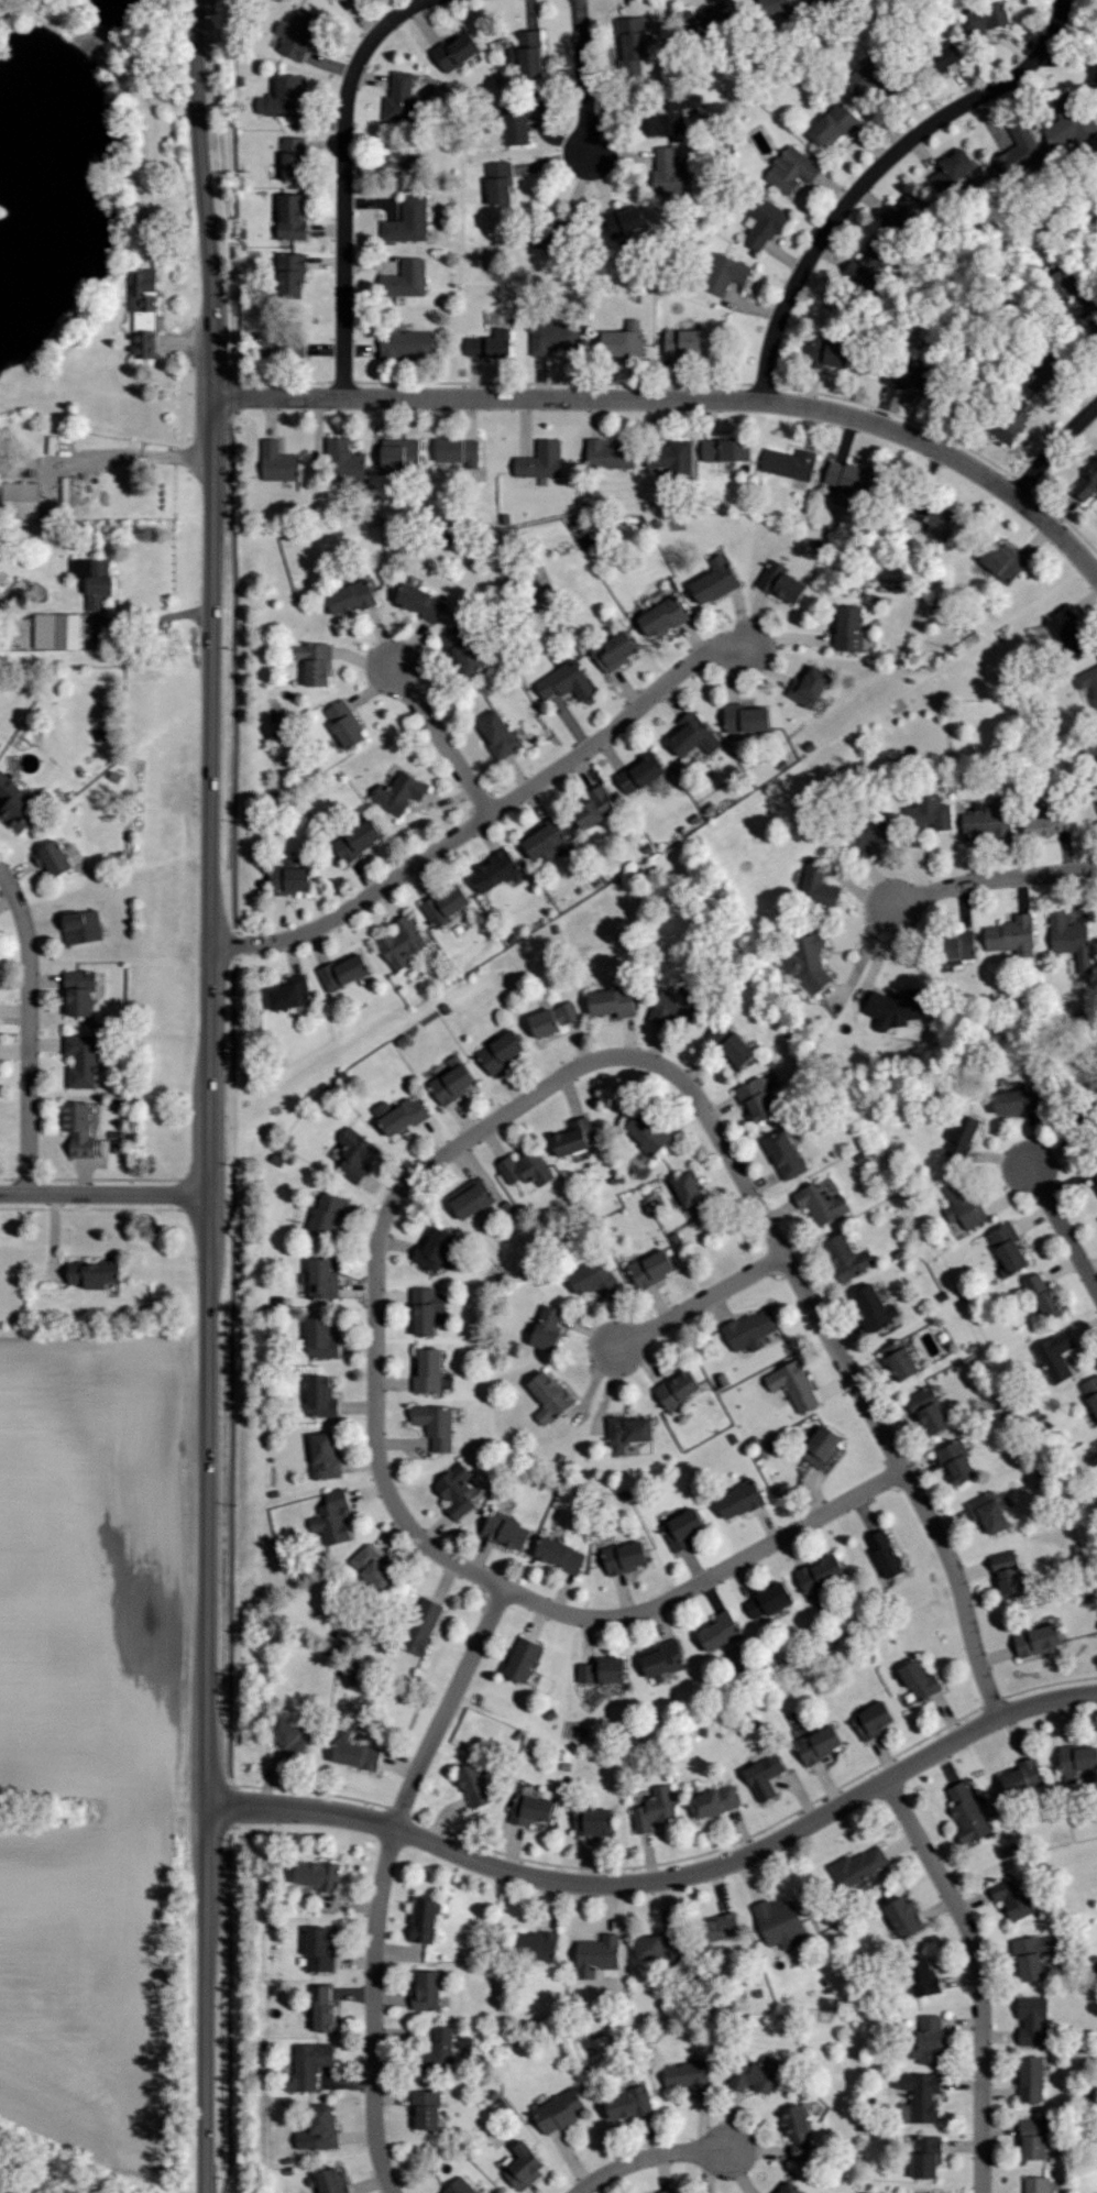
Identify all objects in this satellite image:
building: (771, 4)
building: (990, 24)
road: (1076, 32)
building: (299, 35)
building: (635, 35)
building: (459, 52)
building: (531, 54)
road: (584, 77)
building: (402, 98)
building: (286, 99)
building: (517, 127)
building: (836, 127)
building: (1071, 129)
building: (1024, 143)
building: (297, 158)
building: (963, 165)
road: (876, 171)
building: (796, 172)
building: (672, 173)
road: (344, 180)
road: (204, 182)
building: (503, 184)
road: (223, 199)
building: (295, 218)
building: (628, 220)
building: (410, 221)
building: (766, 226)
building: (860, 268)
building: (732, 274)
building: (295, 276)
building: (408, 279)
building: (146, 311)
building: (557, 336)
building: (626, 339)
building: (688, 340)
building: (409, 342)
building: (494, 343)
building: (842, 350)
road: (212, 382)
road: (681, 401)
building: (1010, 428)
road: (212, 443)
building: (727, 449)
building: (458, 450)
road: (1053, 450)
building: (402, 452)
road: (133, 453)
building: (611, 454)
building: (671, 456)
building: (342, 458)
building: (541, 460)
building: (278, 461)
building: (790, 463)
building: (849, 476)
building: (1086, 481)
building: (842, 497)
building: (22, 500)
building: (943, 520)
building: (1003, 561)
building: (95, 573)
building: (716, 580)
building: (782, 582)
building: (353, 596)
building: (97, 602)
building: (421, 602)
building: (663, 616)
building: (849, 627)
building: (58, 631)
building: (1068, 632)
building: (463, 650)
building: (615, 651)
building: (317, 662)
building: (564, 681)
building: (810, 687)
road: (211, 717)
building: (746, 717)
building: (345, 724)
building: (500, 734)
building: (694, 735)
road: (442, 737)
building: (1096, 737)
building: (640, 772)
building: (399, 792)
building: (17, 803)
building: (595, 807)
road: (486, 815)
building: (926, 818)
building: (1090, 821)
building: (989, 822)
building: (1046, 825)
building: (868, 835)
building: (358, 838)
building: (545, 838)
building: (53, 858)
building: (495, 870)
building: (290, 880)
road: (992, 880)
building: (819, 885)
building: (447, 904)
building: (83, 926)
building: (1012, 935)
building: (1071, 939)
building: (403, 942)
building: (959, 945)
building: (809, 961)
building: (342, 972)
building: (80, 991)
building: (290, 993)
building: (613, 1001)
building: (676, 1005)
building: (896, 1008)
building: (555, 1019)
road: (210, 1022)
road: (30, 1031)
building: (732, 1044)
building: (503, 1052)
building: (83, 1061)
building: (453, 1083)
building: (757, 1099)
building: (1018, 1100)
building: (401, 1115)
building: (80, 1129)
building: (648, 1133)
building: (575, 1137)
building: (963, 1137)
building: (351, 1139)
road: (210, 1147)
building: (786, 1154)
building: (526, 1169)
building: (1096, 1176)
building: (692, 1195)
road: (105, 1196)
building: (472, 1197)
building: (821, 1203)
building: (964, 1203)
building: (329, 1216)
road: (210, 1218)
road: (1063, 1229)
building: (1009, 1247)
building: (435, 1249)
building: (847, 1257)
building: (652, 1268)
building: (95, 1274)
building: (323, 1279)
building: (595, 1279)
building: (1044, 1295)
road: (232, 1296)
road: (700, 1304)
building: (876, 1308)
building: (427, 1311)
building: (549, 1327)
building: (752, 1329)
building: (321, 1338)
building: (1056, 1356)
building: (900, 1360)
road: (847, 1369)
building: (429, 1371)
road: (596, 1384)
building: (794, 1385)
building: (679, 1389)
road: (608, 1390)
building: (321, 1396)
building: (550, 1396)
building: (930, 1411)
building: (436, 1424)
building: (628, 1432)
building: (1096, 1443)
building: (823, 1446)
building: (326, 1455)
building: (957, 1462)
road: (208, 1472)
building: (456, 1490)
road: (391, 1495)
building: (741, 1500)
building: (989, 1512)
building: (333, 1517)
building: (683, 1528)
building: (507, 1531)
building: (886, 1554)
building: (560, 1555)
building: (626, 1557)
building: (373, 1569)
building: (1009, 1575)
building: (822, 1578)
building: (768, 1600)
building: (423, 1625)
building: (721, 1631)
building: (1038, 1640)
building: (662, 1658)
building: (523, 1659)
building: (603, 1670)
building: (920, 1680)
building: (873, 1721)
building: (287, 1735)
building: (820, 1743)
building: (356, 1753)
road: (207, 1757)
building: (1077, 1761)
building: (765, 1776)
building: (1024, 1777)
building: (474, 1785)
building: (715, 1801)
building: (531, 1809)
building: (655, 1809)
building: (968, 1813)
building: (599, 1821)
road: (208, 1851)
building: (858, 1866)
building: (318, 1874)
road: (383, 1879)
road: (667, 1879)
building: (1016, 1897)
building: (906, 1917)
building: (425, 1919)
building: (781, 1922)
building: (721, 1926)
building: (537, 1945)
building: (660, 1945)
building: (319, 1950)
building: (1035, 1954)
building: (597, 1955)
building: (1094, 1963)
building: (923, 1975)
road: (980, 1975)
building: (428, 1991)
building: (323, 2008)
building: (1033, 2020)
building: (930, 2040)
road: (208, 2042)
building: (439, 2050)
building: (308, 2065)
building: (757, 2074)
building: (689, 2076)
building: (1032, 2079)
building: (919, 2096)
building: (629, 2103)
building: (427, 2108)
building: (560, 2110)
building: (320, 2128)
building: (799, 2131)
building: (1034, 2138)
building: (926, 2156)
road: (650, 2158)
building: (525, 2167)
building: (332, 2181)
building: (1038, 2184)
building: (460, 2186)
building: (791, 2187)
building: (669, 2191)

